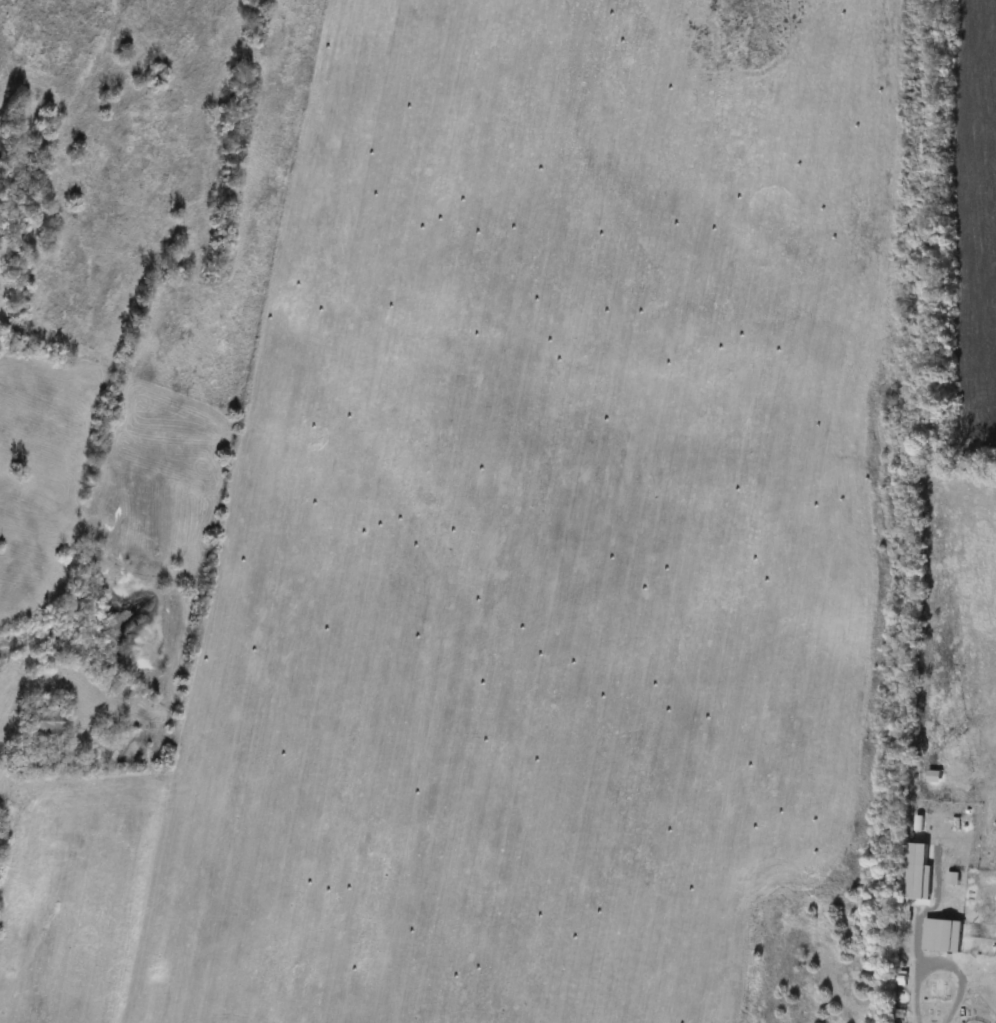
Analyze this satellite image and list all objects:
road: (941, 965)

